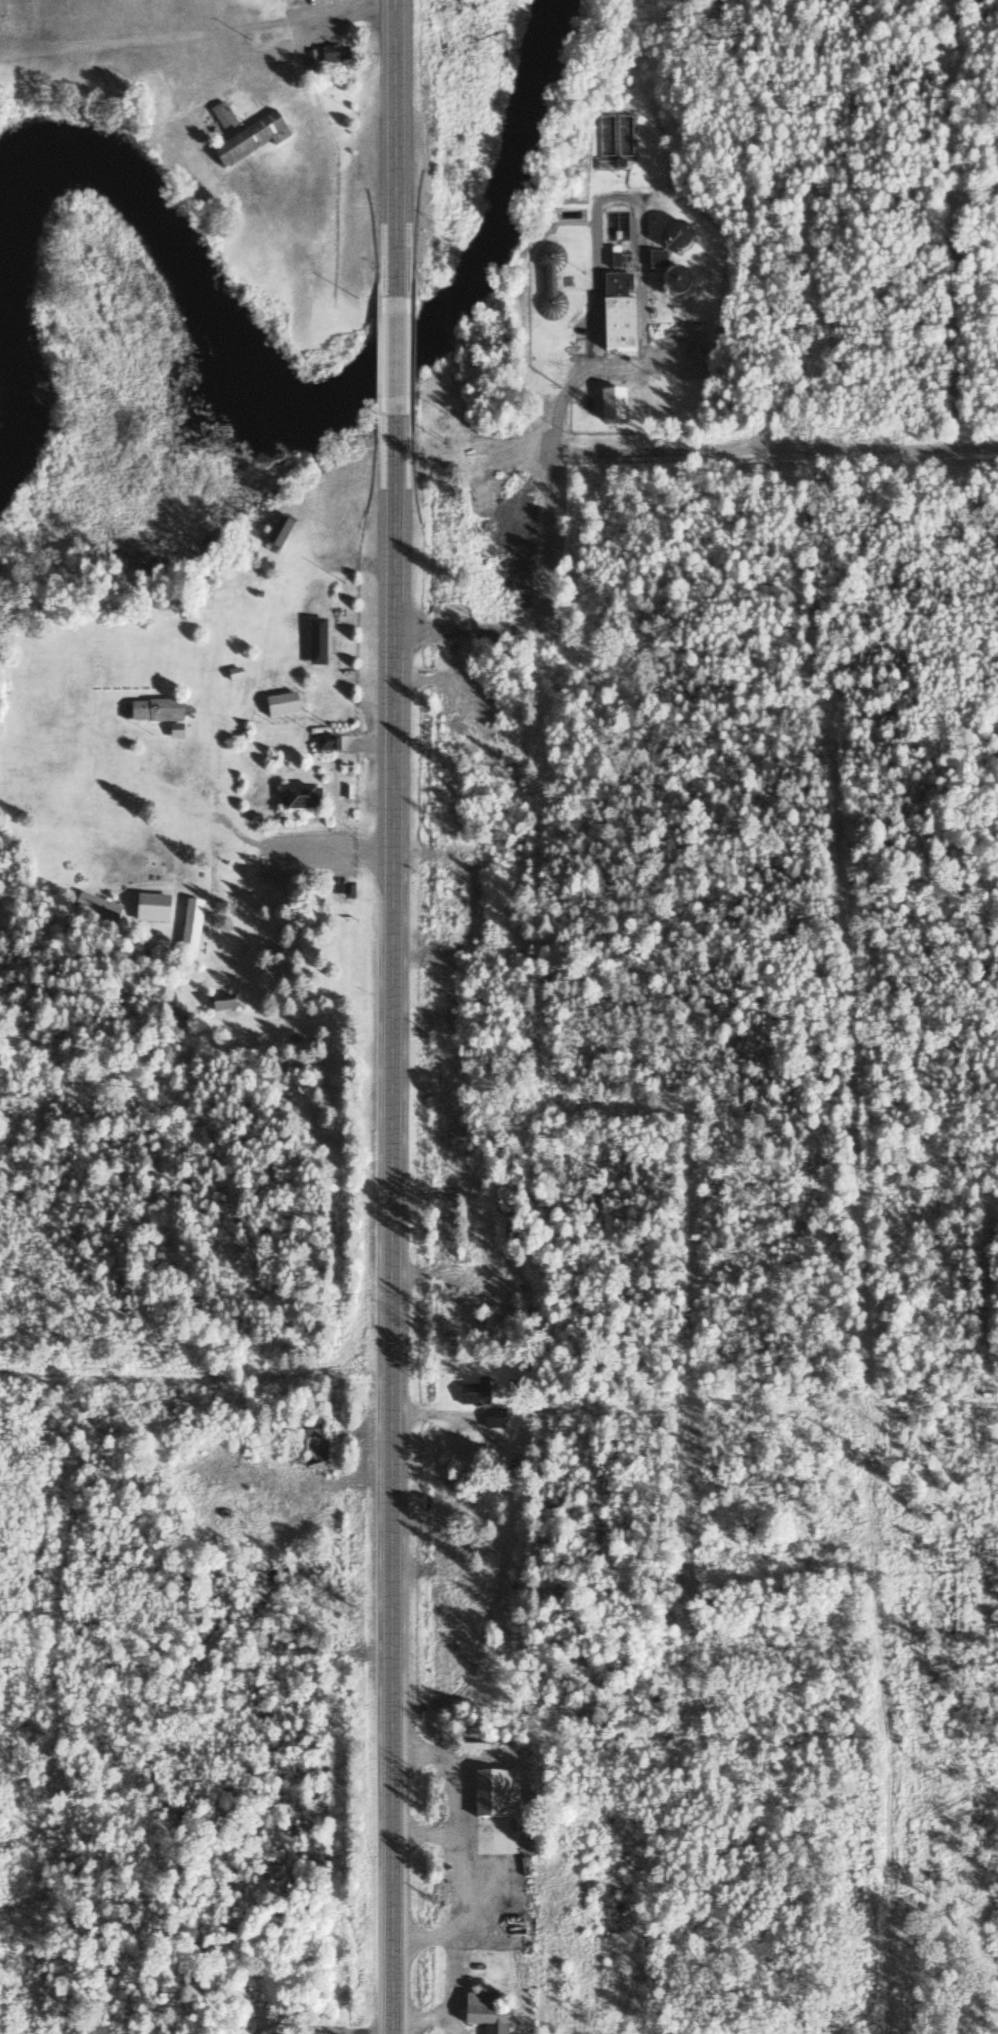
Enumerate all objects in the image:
road: (194, 30)
building: (331, 56)
building: (243, 135)
road: (396, 149)
building: (609, 160)
river: (512, 177)
building: (675, 237)
building: (656, 261)
building: (673, 281)
building: (549, 285)
building: (615, 288)
river: (205, 320)
building: (616, 327)
road: (394, 358)
road: (584, 370)
building: (611, 407)
building: (278, 535)
building: (280, 706)
building: (154, 712)
building: (326, 745)
building: (468, 753)
building: (299, 801)
building: (95, 910)
building: (151, 910)
building: (471, 912)
building: (189, 930)
building: (221, 1005)
building: (178, 1026)
road: (389, 1225)
building: (473, 1394)
building: (310, 1442)
building: (525, 1799)
building: (487, 1802)
building: (484, 2013)

